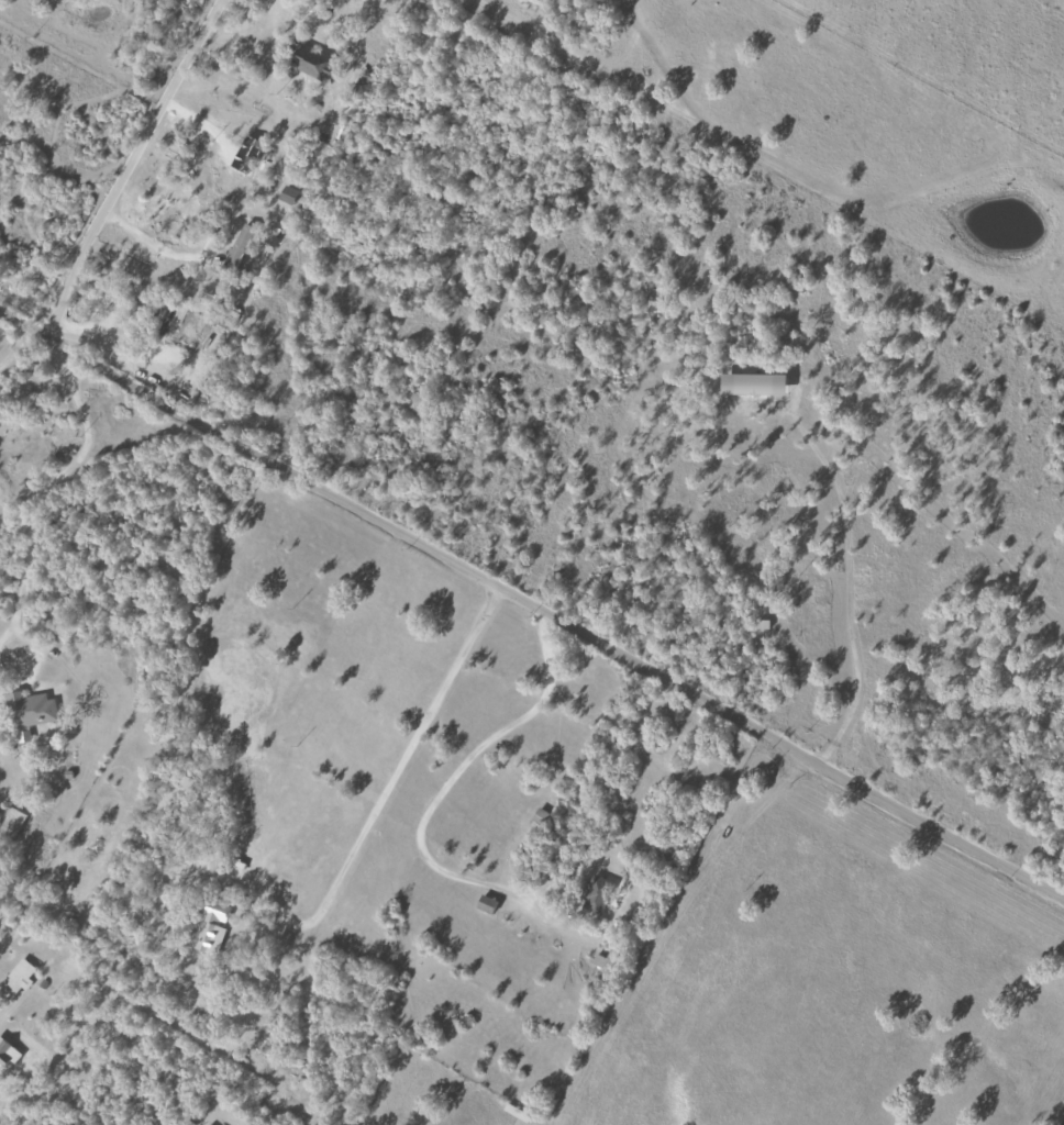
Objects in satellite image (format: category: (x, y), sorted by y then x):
building: (313, 63)
road: (125, 166)
building: (239, 246)
road: (13, 344)
building: (751, 383)
road: (44, 488)
road: (846, 586)
road: (532, 608)
building: (762, 624)
building: (30, 709)
road: (383, 782)
road: (440, 786)
building: (539, 816)
building: (10, 822)
road: (617, 875)
building: (596, 894)
building: (485, 904)
building: (210, 926)
building: (15, 979)
road: (4, 1000)
building: (7, 1054)

